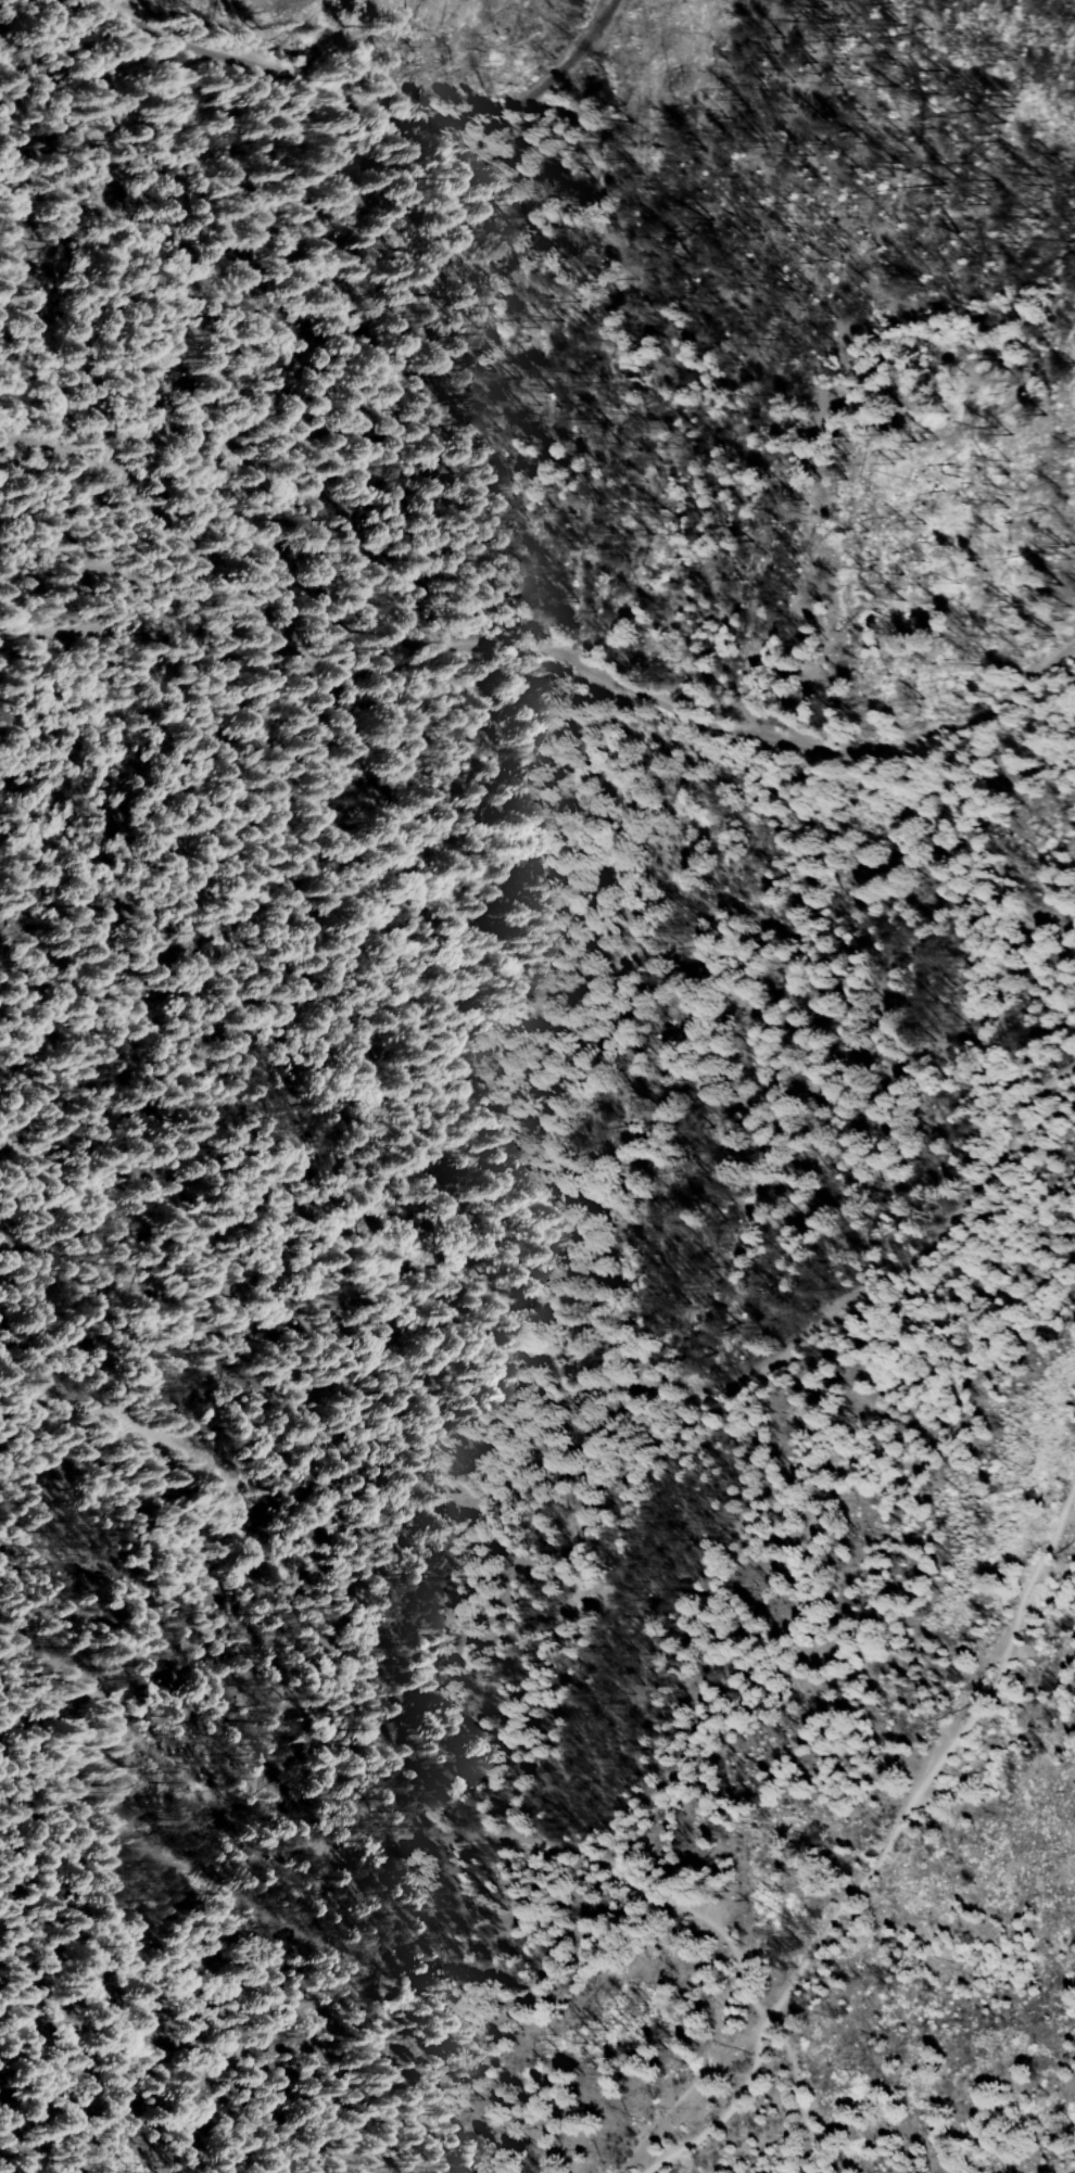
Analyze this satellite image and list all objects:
road: (371, 110)
road: (528, 652)
road: (577, 1399)
road: (438, 1841)

